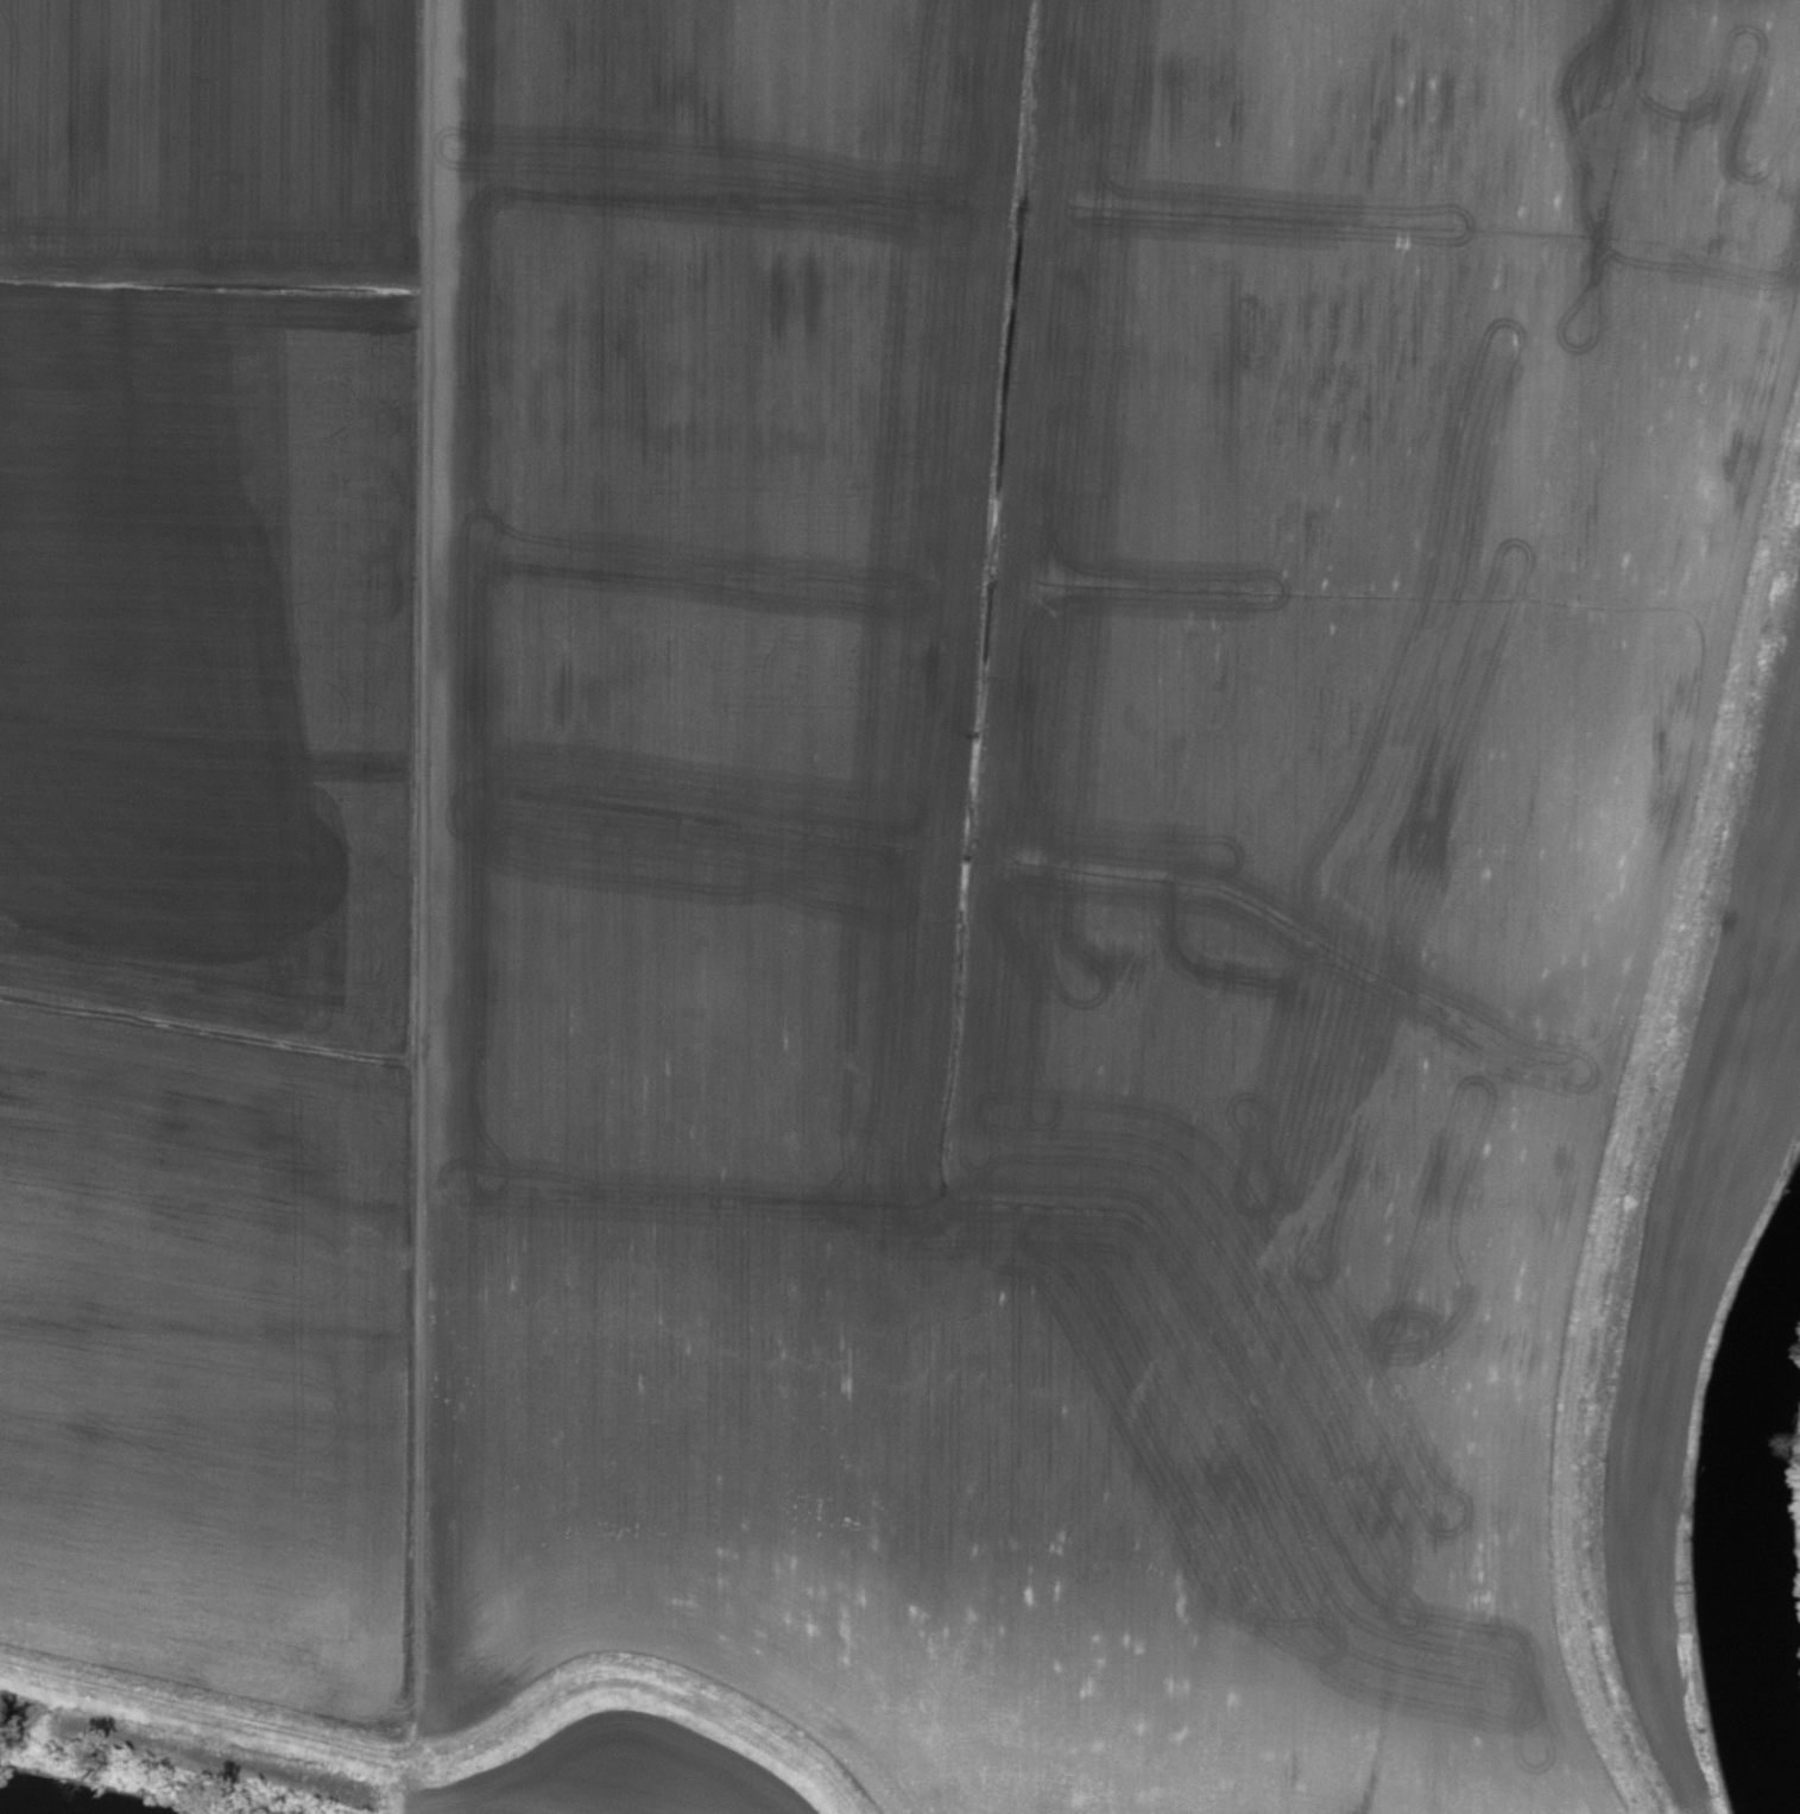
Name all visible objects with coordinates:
road: (412, 899)
river: (1750, 1535)

